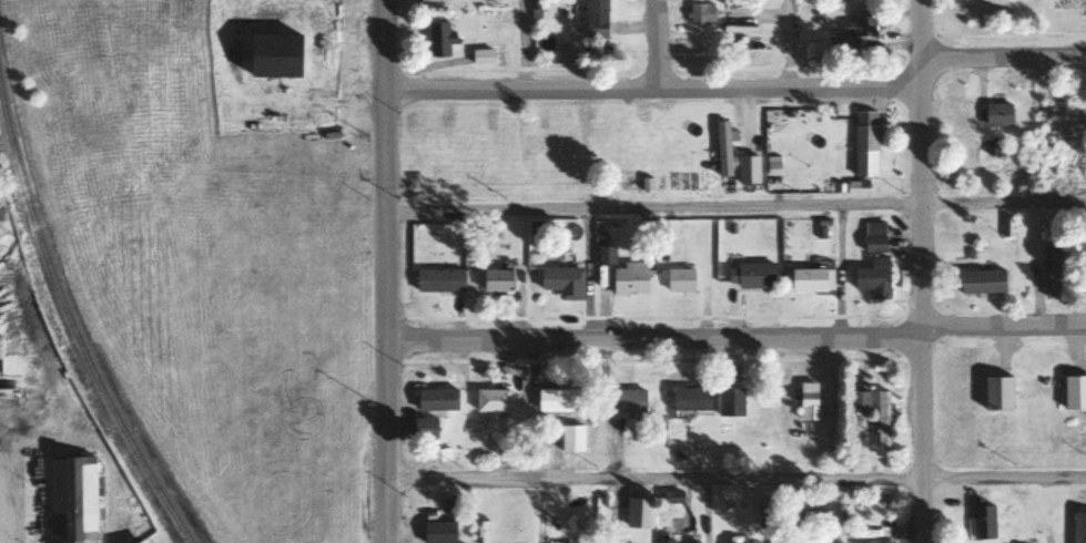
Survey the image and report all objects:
building: (1068, 6)
building: (700, 13)
building: (596, 20)
building: (740, 29)
building: (851, 35)
building: (438, 40)
road: (520, 44)
road: (653, 44)
road: (785, 44)
building: (483, 58)
road: (737, 89)
building: (997, 115)
building: (864, 144)
building: (722, 148)
road: (733, 205)
building: (873, 237)
building: (605, 254)
building: (1052, 269)
road: (382, 271)
road: (917, 271)
building: (750, 275)
building: (629, 278)
building: (496, 279)
building: (679, 279)
building: (811, 279)
building: (872, 279)
building: (438, 280)
building: (562, 280)
building: (982, 280)
building: (2, 306)
railway: (72, 330)
road: (734, 339)
building: (1074, 392)
building: (997, 393)
building: (436, 399)
building: (690, 399)
building: (491, 400)
building: (559, 400)
building: (626, 401)
building: (806, 401)
building: (857, 401)
building: (730, 402)
building: (882, 419)
building: (425, 428)
building: (570, 439)
road: (734, 479)
building: (71, 500)
building: (638, 513)
building: (769, 522)
building: (983, 522)
building: (1078, 523)
building: (438, 532)
building: (1021, 536)
building: (140, 541)
building: (667, 541)
building: (691, 542)

